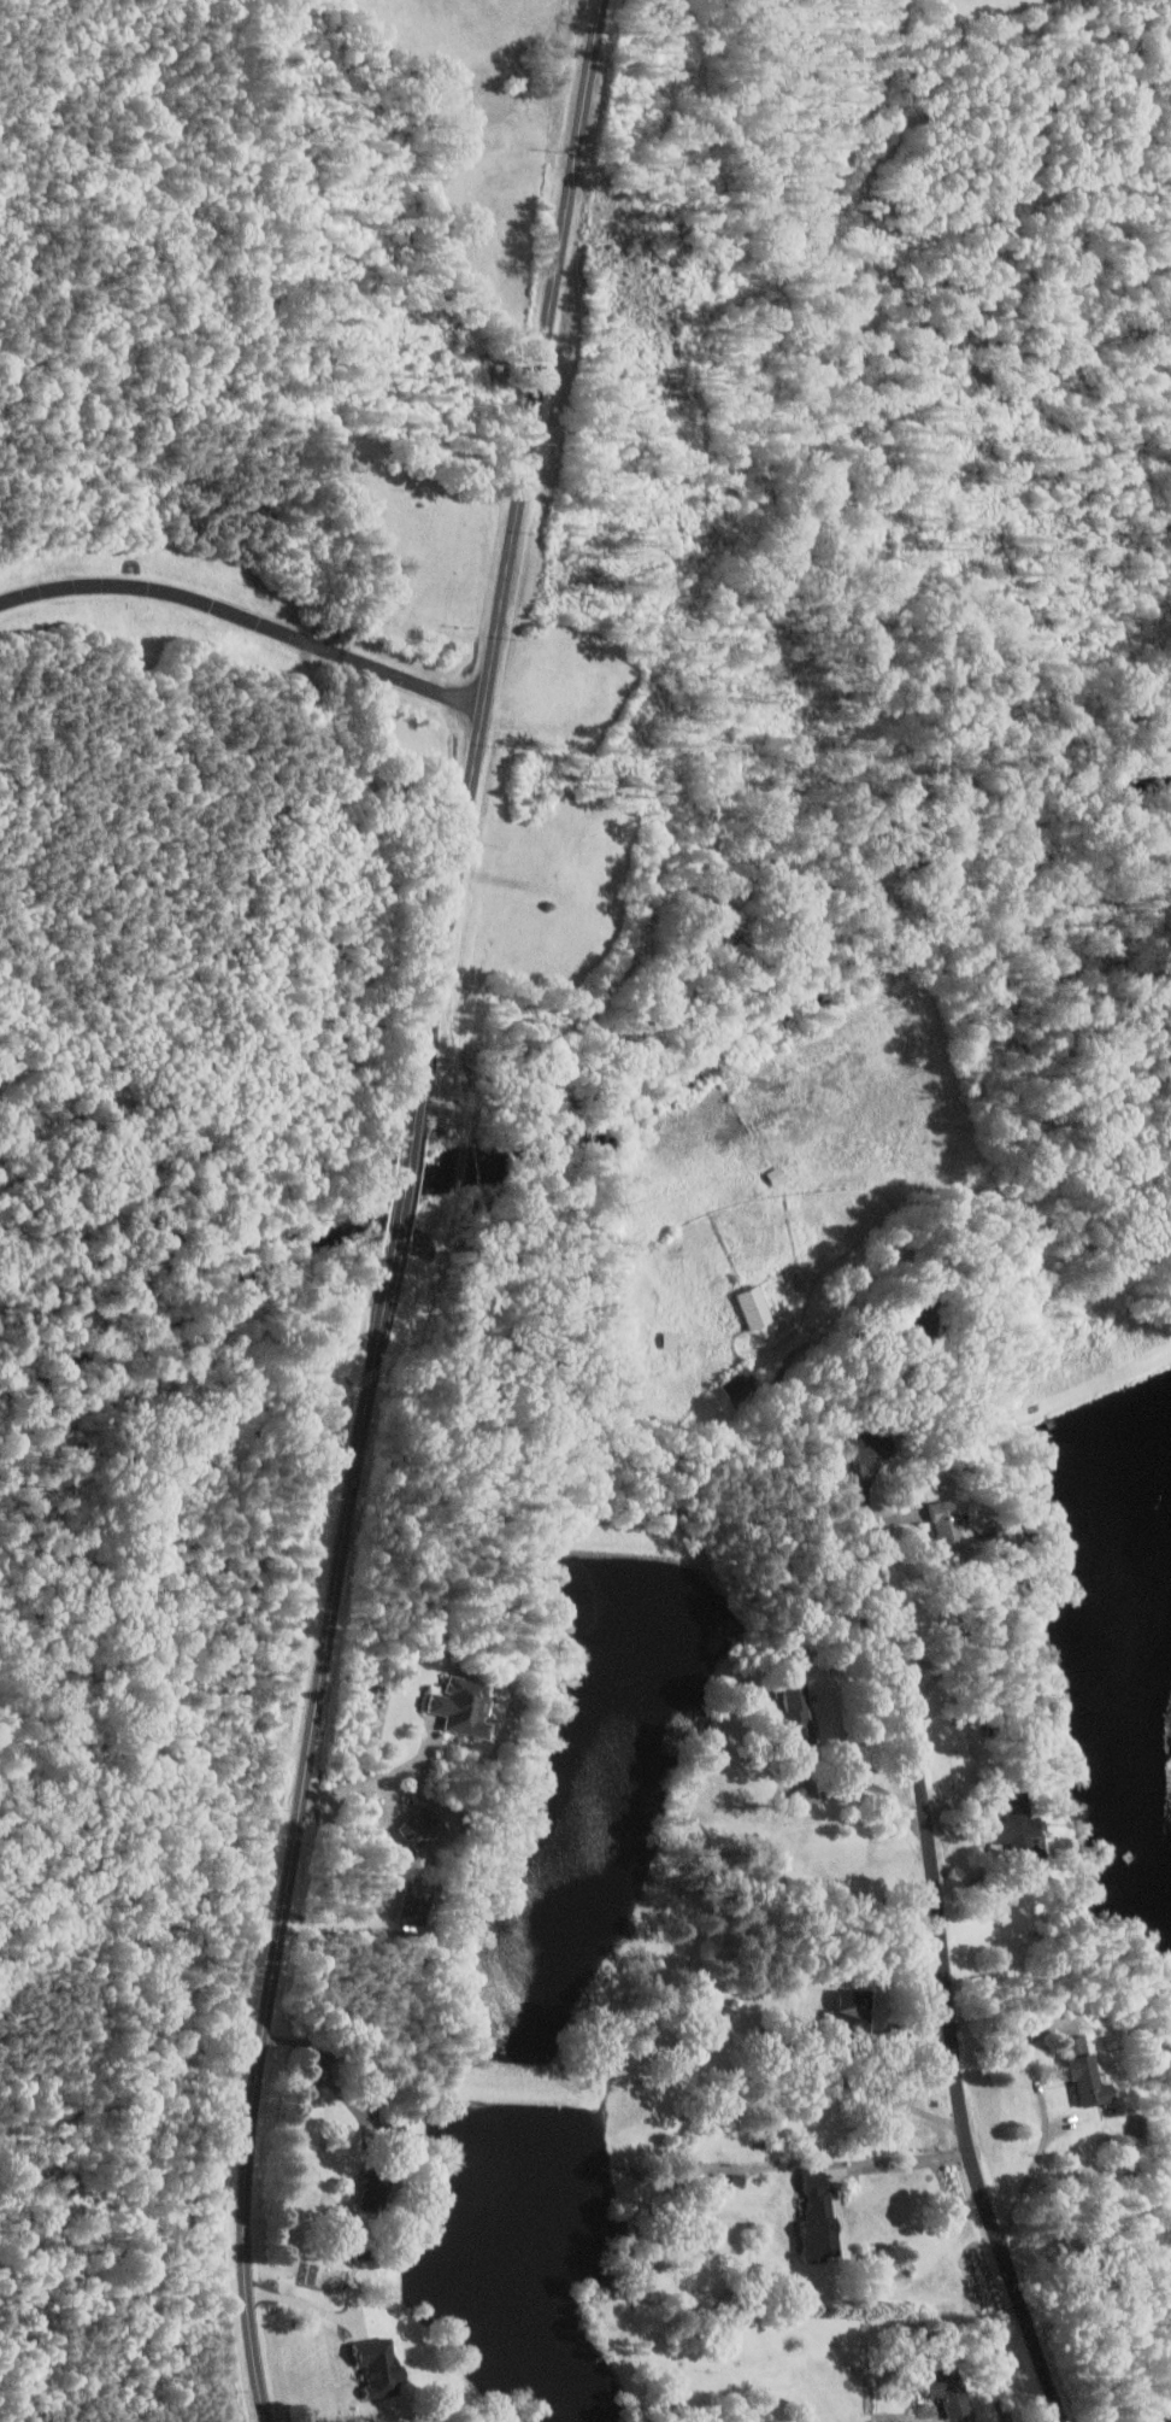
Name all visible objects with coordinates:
road: (149, 588)
road: (502, 596)
road: (319, 640)
road: (413, 674)
river: (807, 1020)
building: (778, 1174)
road: (401, 1214)
river: (208, 1304)
building: (755, 1307)
road: (787, 1377)
road: (866, 1466)
building: (959, 1529)
building: (471, 1703)
building: (798, 1703)
road: (371, 1784)
road: (872, 1784)
building: (1019, 1822)
road: (299, 1828)
building: (426, 1828)
building: (416, 1904)
road: (345, 1925)
road: (945, 1959)
building: (859, 2008)
road: (341, 2057)
building: (1089, 2074)
road: (1045, 2106)
road: (902, 2162)
building: (819, 2216)
road: (302, 2303)
building: (379, 2365)
building: (955, 2393)
road: (1170, 2420)

